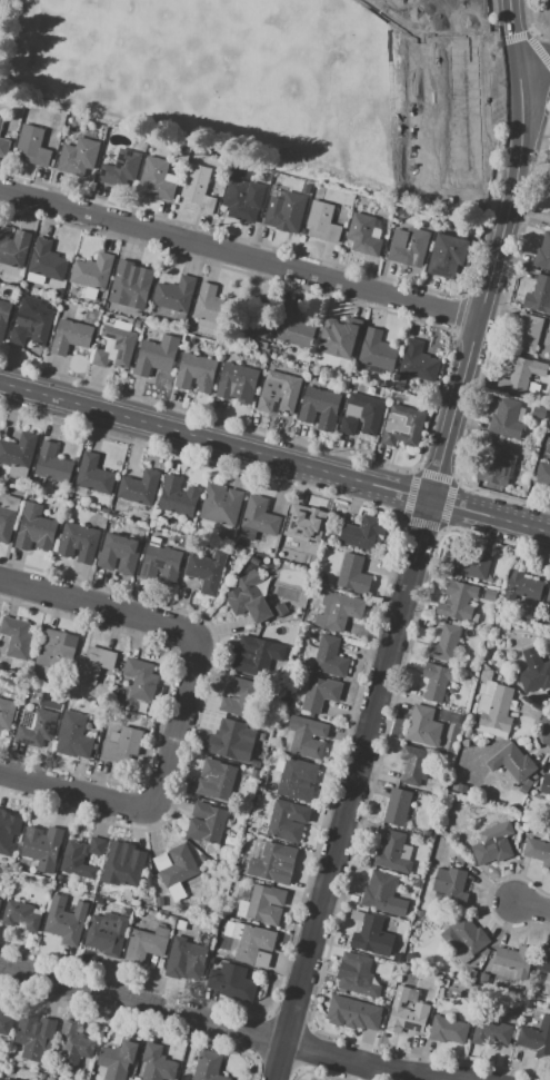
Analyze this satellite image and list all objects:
park: (457, 16)
road: (537, 55)
building: (424, 62)
parking lot: (497, 87)
building: (427, 108)
building: (8, 121)
building: (32, 146)
building: (4, 147)
building: (78, 156)
building: (120, 167)
building: (157, 178)
building: (198, 189)
building: (239, 200)
building: (549, 200)
building: (286, 211)
building: (322, 221)
building: (549, 226)
building: (362, 234)
building: (408, 246)
building: (13, 247)
road: (497, 251)
building: (543, 252)
road: (240, 255)
building: (448, 255)
building: (46, 261)
building: (92, 271)
building: (130, 285)
building: (174, 294)
building: (539, 295)
building: (210, 306)
building: (3, 317)
building: (31, 324)
building: (294, 327)
building: (528, 331)
building: (70, 336)
building: (341, 338)
building: (116, 346)
building: (376, 349)
building: (157, 356)
building: (417, 361)
building: (196, 371)
building: (522, 375)
building: (238, 383)
building: (279, 392)
building: (319, 407)
building: (366, 410)
building: (538, 413)
building: (506, 418)
building: (402, 425)
building: (348, 426)
building: (18, 450)
road: (274, 456)
building: (500, 462)
building: (52, 463)
building: (94, 474)
building: (542, 475)
building: (139, 487)
building: (178, 497)
building: (221, 504)
building: (8, 516)
building: (258, 518)
building: (307, 525)
building: (36, 528)
building: (362, 532)
building: (79, 542)
building: (120, 553)
building: (254, 561)
building: (267, 561)
building: (471, 563)
building: (161, 564)
building: (206, 569)
building: (353, 574)
building: (523, 584)
building: (490, 594)
building: (548, 595)
building: (252, 600)
building: (458, 600)
road: (100, 610)
building: (549, 610)
building: (339, 611)
building: (17, 637)
building: (446, 643)
building: (53, 647)
building: (330, 656)
building: (253, 658)
building: (93, 664)
building: (534, 671)
building: (486, 675)
building: (140, 678)
building: (437, 681)
building: (320, 693)
building: (240, 696)
building: (497, 712)
building: (6, 713)
building: (443, 713)
road: (177, 725)
building: (423, 726)
building: (37, 729)
building: (73, 735)
building: (307, 736)
building: (232, 742)
building: (121, 744)
building: (256, 763)
building: (512, 763)
building: (412, 764)
building: (256, 774)
building: (262, 779)
building: (298, 779)
building: (219, 780)
building: (546, 784)
building: (462, 787)
road: (351, 790)
road: (76, 792)
building: (397, 806)
building: (283, 822)
building: (211, 825)
building: (7, 831)
building: (427, 832)
building: (42, 846)
building: (492, 848)
building: (538, 851)
building: (390, 852)
building: (81, 856)
building: (272, 861)
building: (124, 868)
building: (174, 869)
building: (450, 882)
building: (99, 890)
building: (377, 890)
building: (0, 898)
building: (99, 900)
building: (159, 901)
building: (0, 902)
building: (266, 903)
road: (532, 904)
building: (20, 914)
building: (357, 914)
building: (66, 920)
building: (107, 933)
building: (470, 934)
building: (372, 937)
building: (147, 942)
building: (254, 945)
building: (190, 958)
building: (543, 959)
building: (514, 960)
building: (357, 974)
building: (231, 985)
building: (0, 1011)
building: (512, 1011)
building: (356, 1013)
building: (406, 1013)
building: (4, 1024)
road: (226, 1025)
building: (448, 1030)
building: (491, 1032)
building: (36, 1037)
building: (537, 1038)
building: (73, 1046)
building: (118, 1059)
building: (157, 1063)
building: (209, 1066)
building: (4, 1079)

